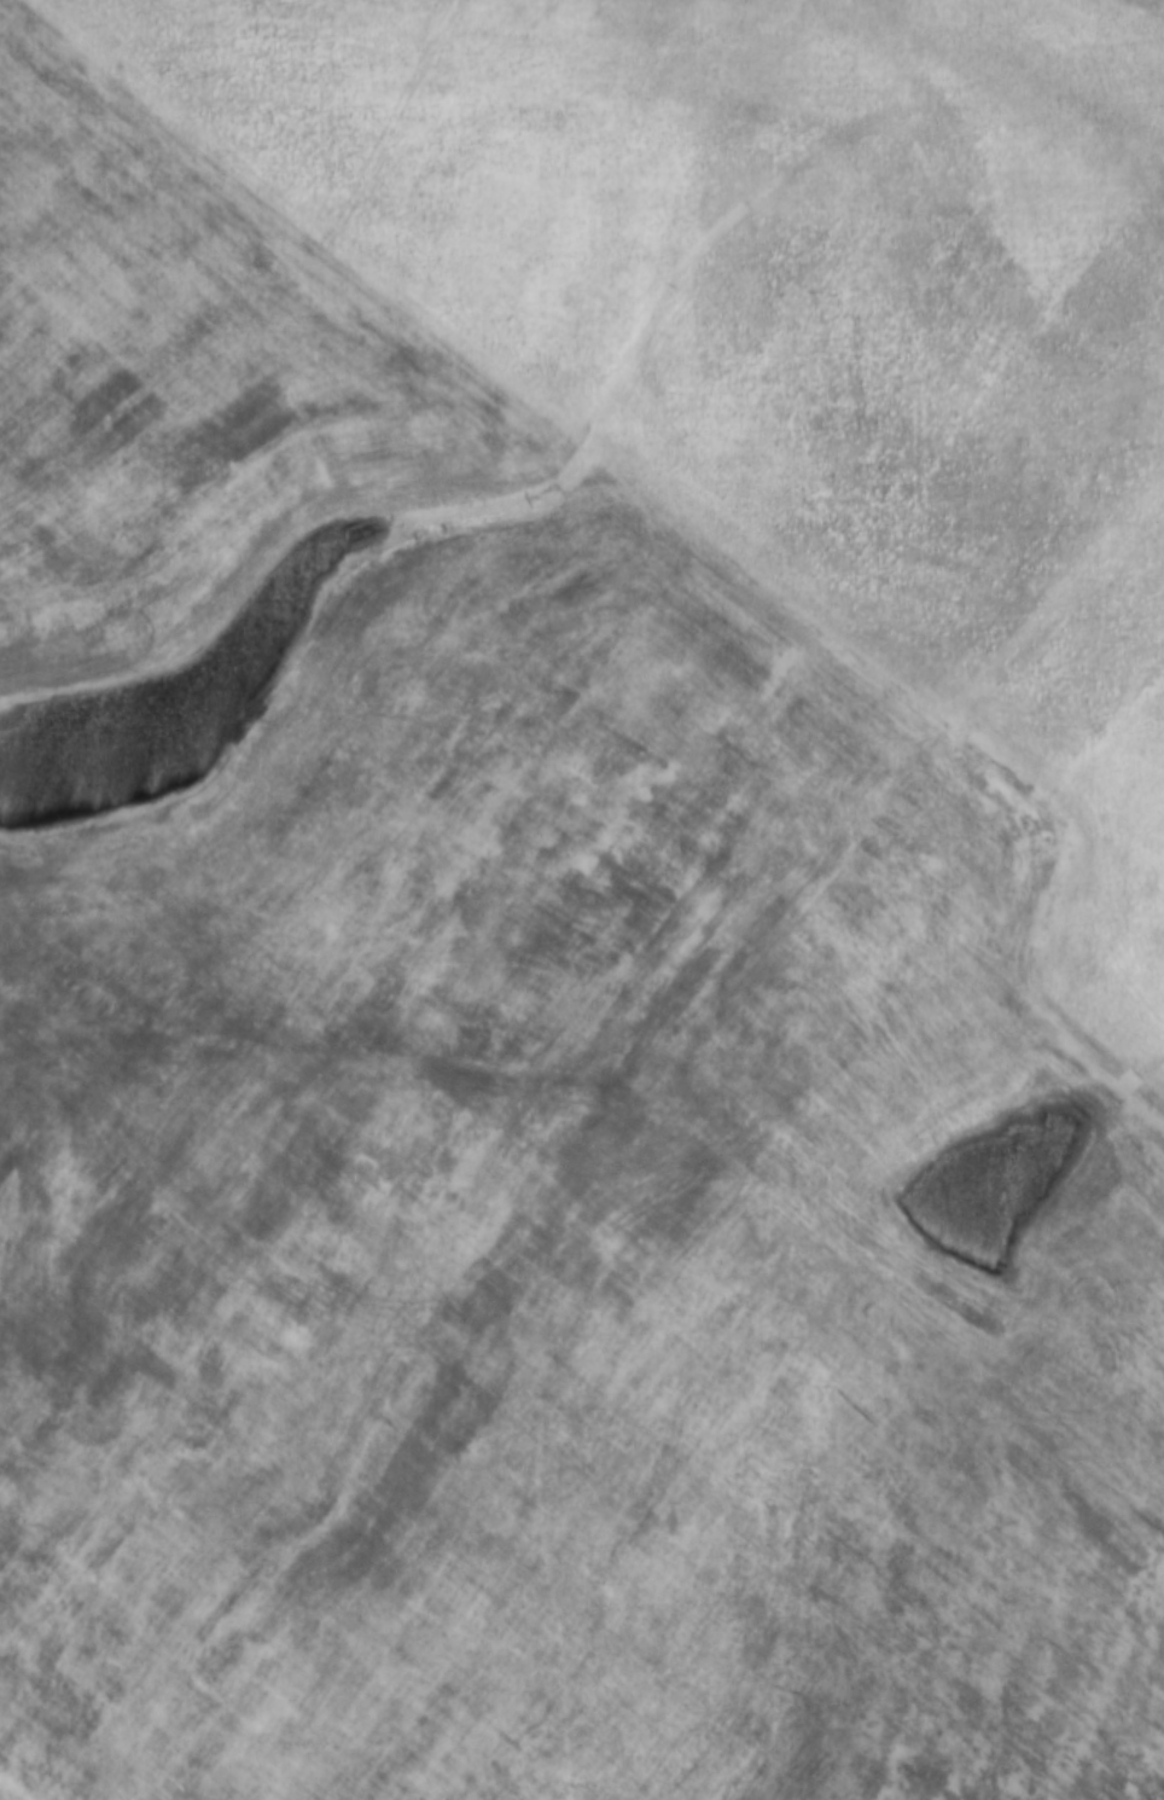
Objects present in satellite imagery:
road: (592, 1369)

